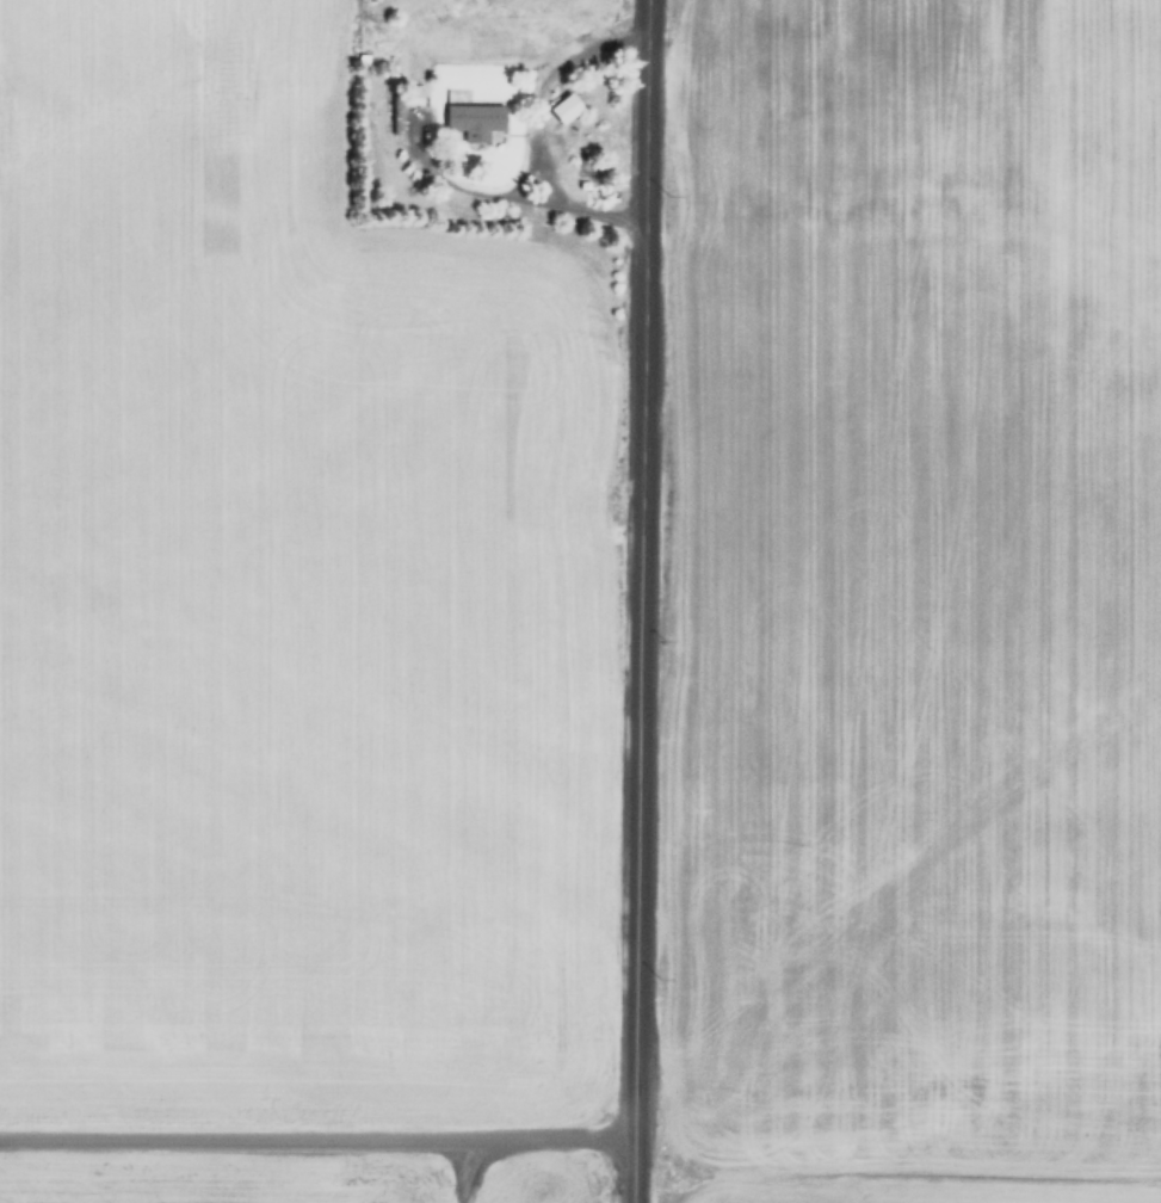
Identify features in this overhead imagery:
building: (475, 123)
road: (637, 600)
road: (316, 1128)

